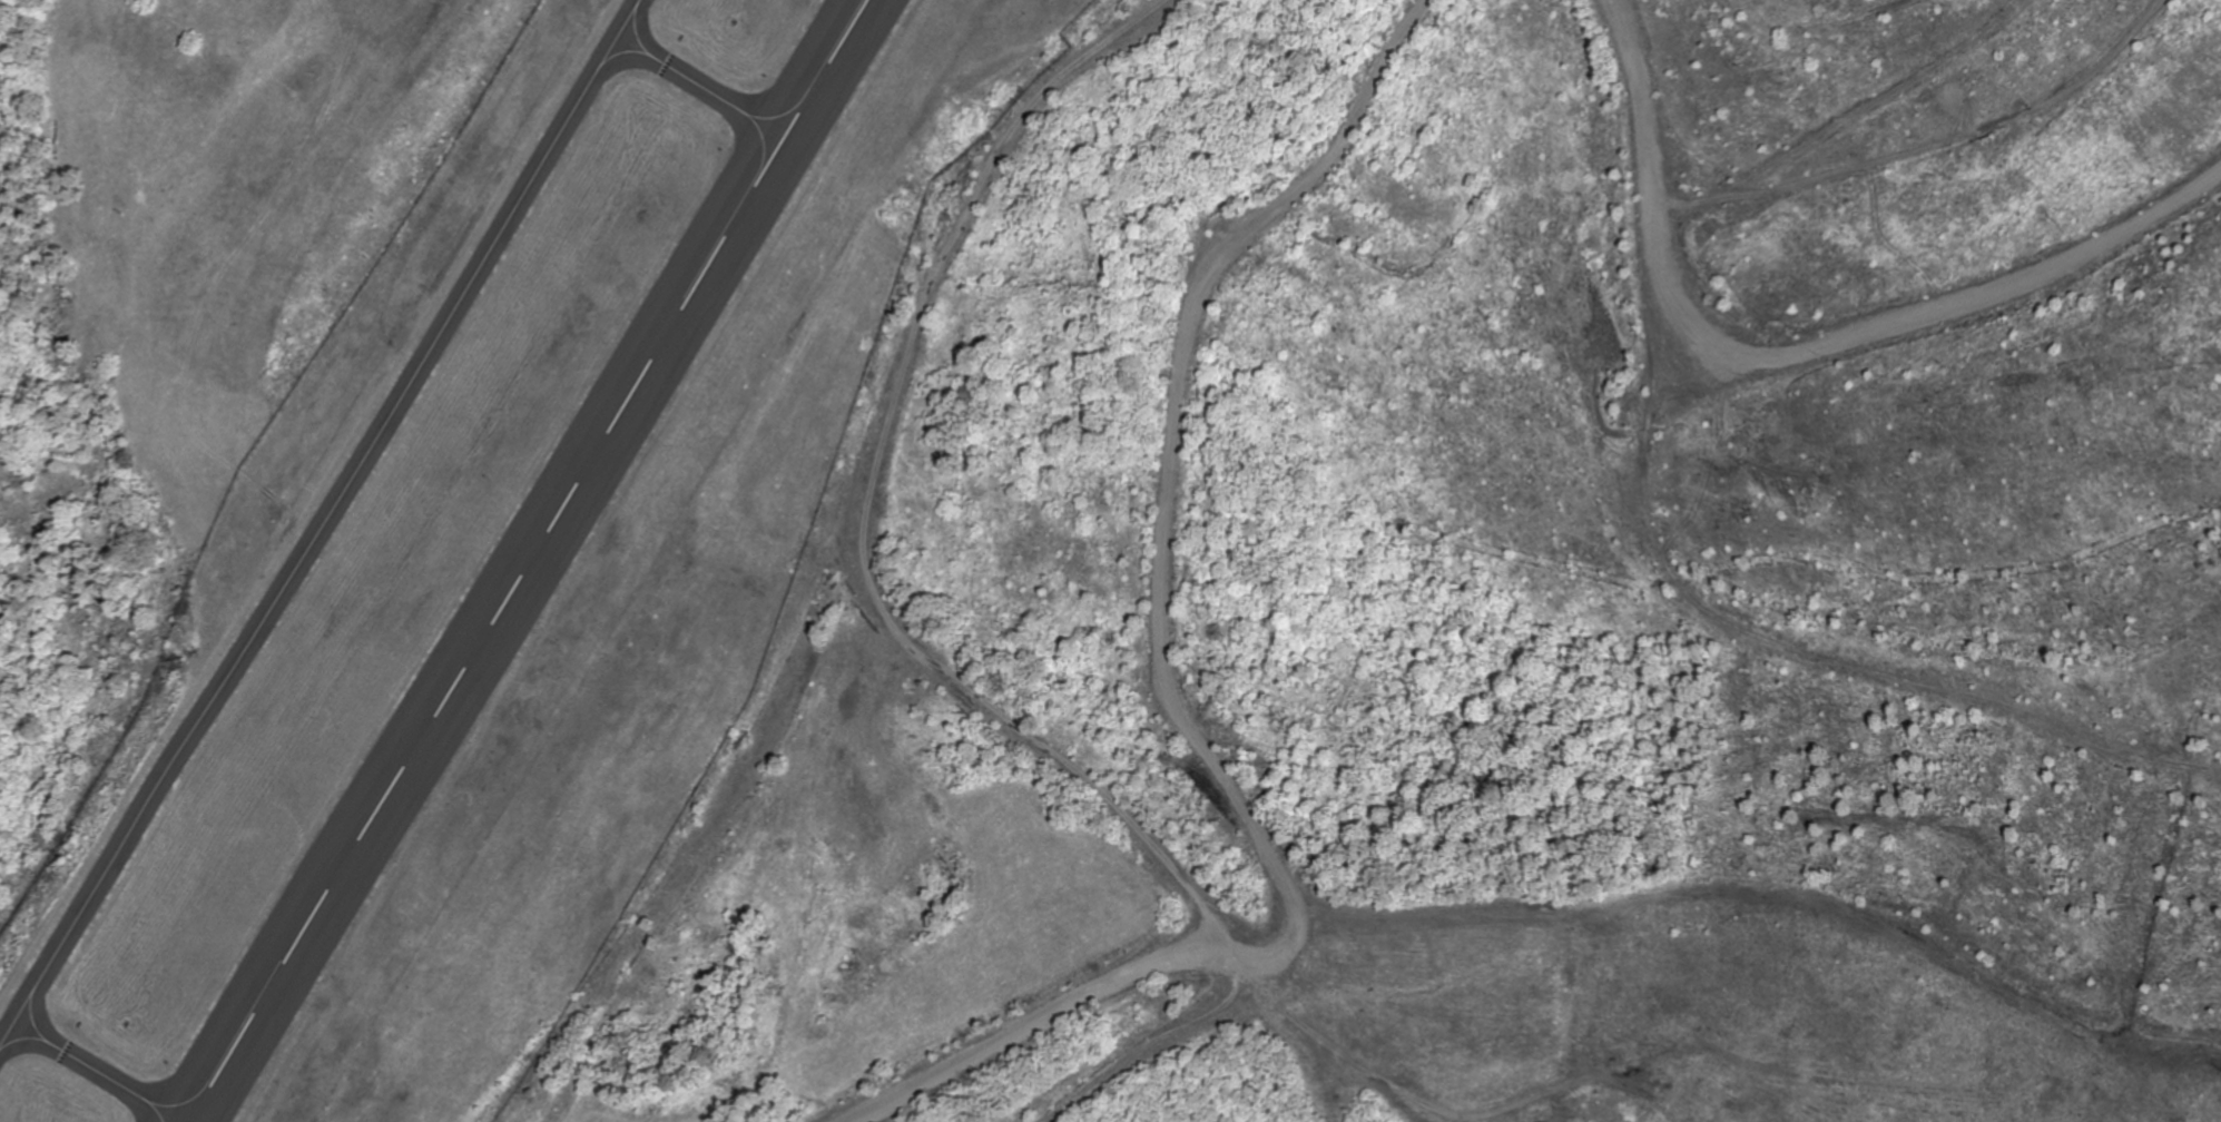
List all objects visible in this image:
airport taxiway: (699, 83)
airport taxiway: (317, 528)
airport runway: (527, 560)
airport: (498, 568)
building: (1462, 937)
quarry: (1989, 963)
airport taxiway: (106, 1071)

